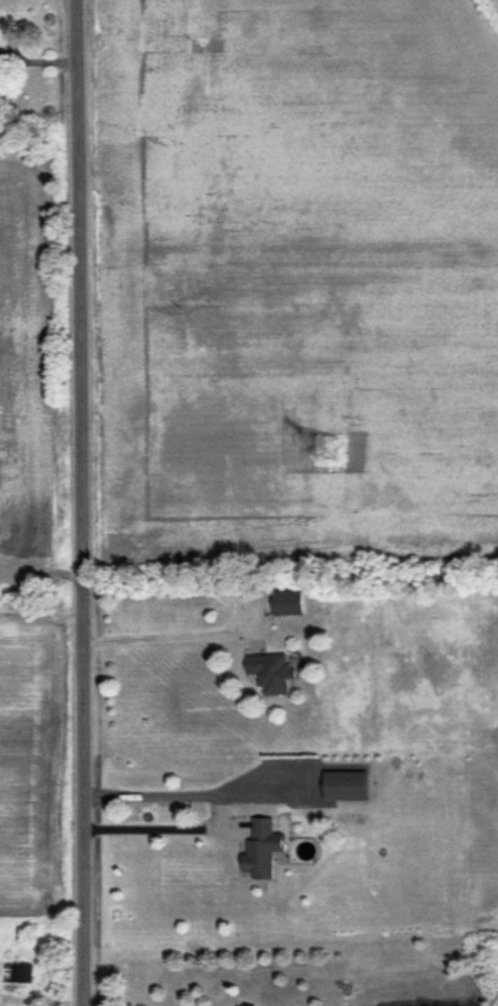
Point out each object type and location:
power tower: (326, 449)
road: (81, 502)
building: (288, 602)
road: (164, 644)
building: (272, 671)
building: (345, 785)
road: (225, 821)
building: (262, 848)
building: (18, 972)

